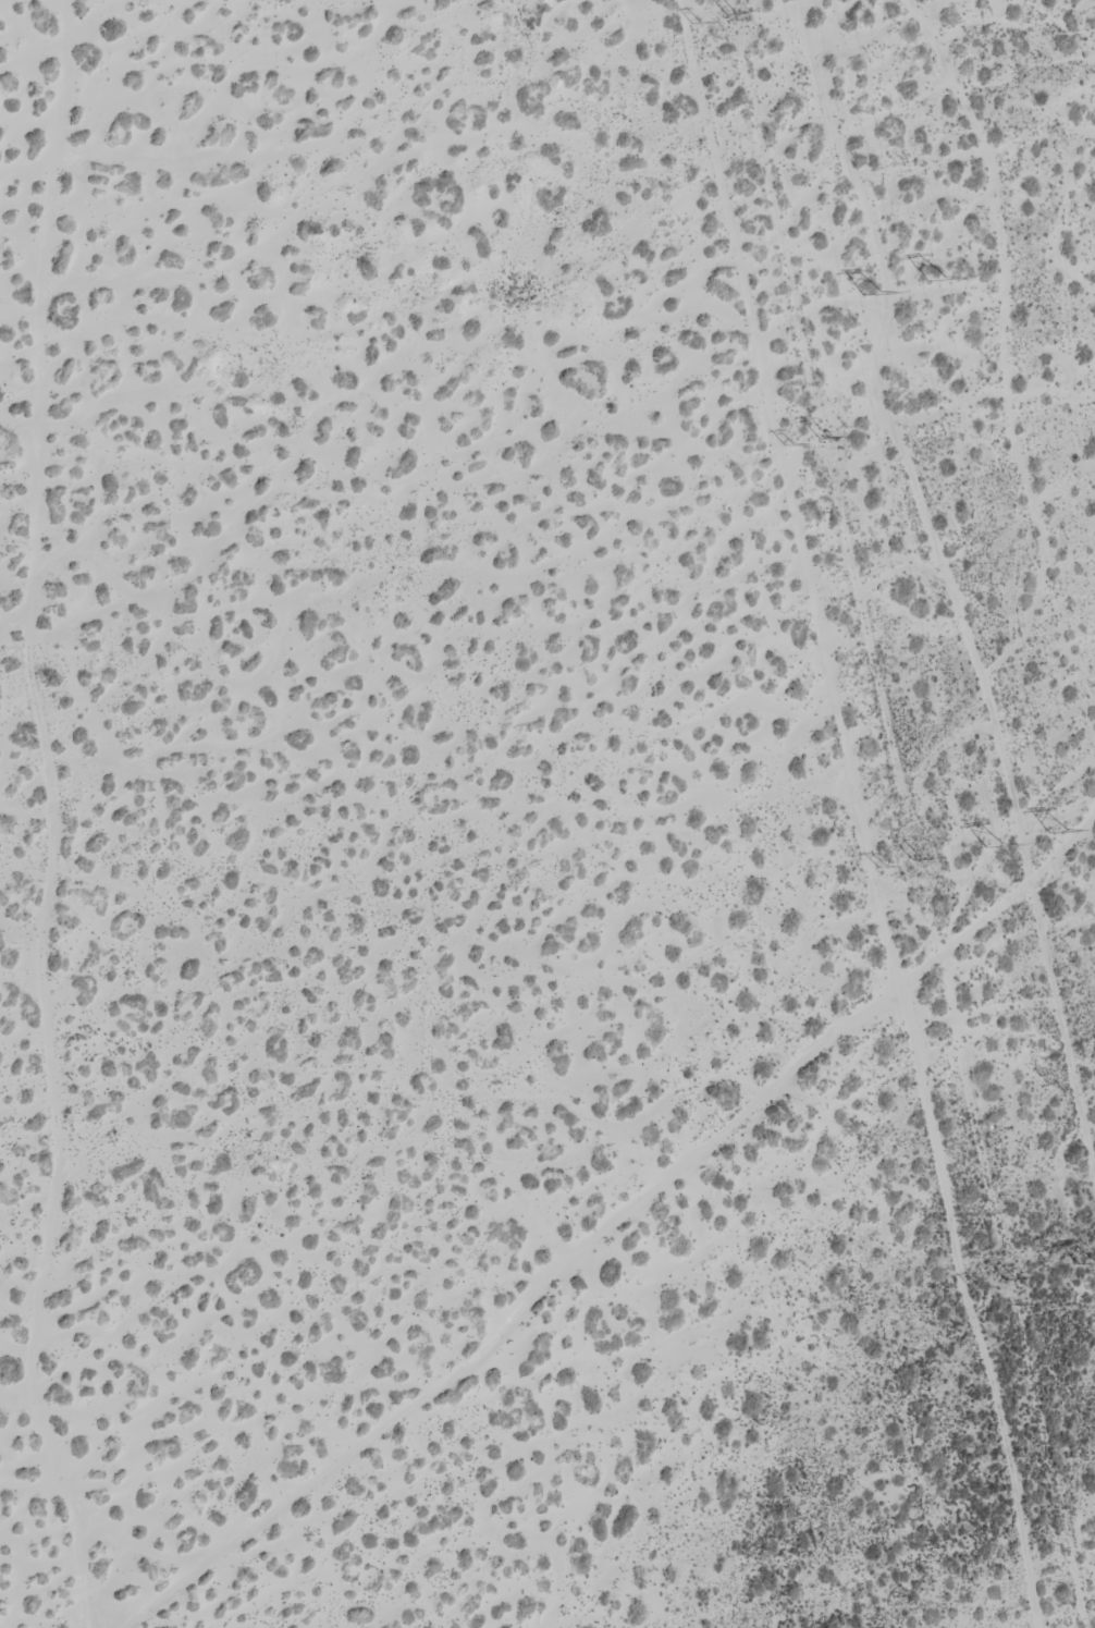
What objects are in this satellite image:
power tower: (936, 277)
power tower: (872, 290)
power tower: (1056, 829)
power tower: (993, 845)
power tower: (1083, 1259)

